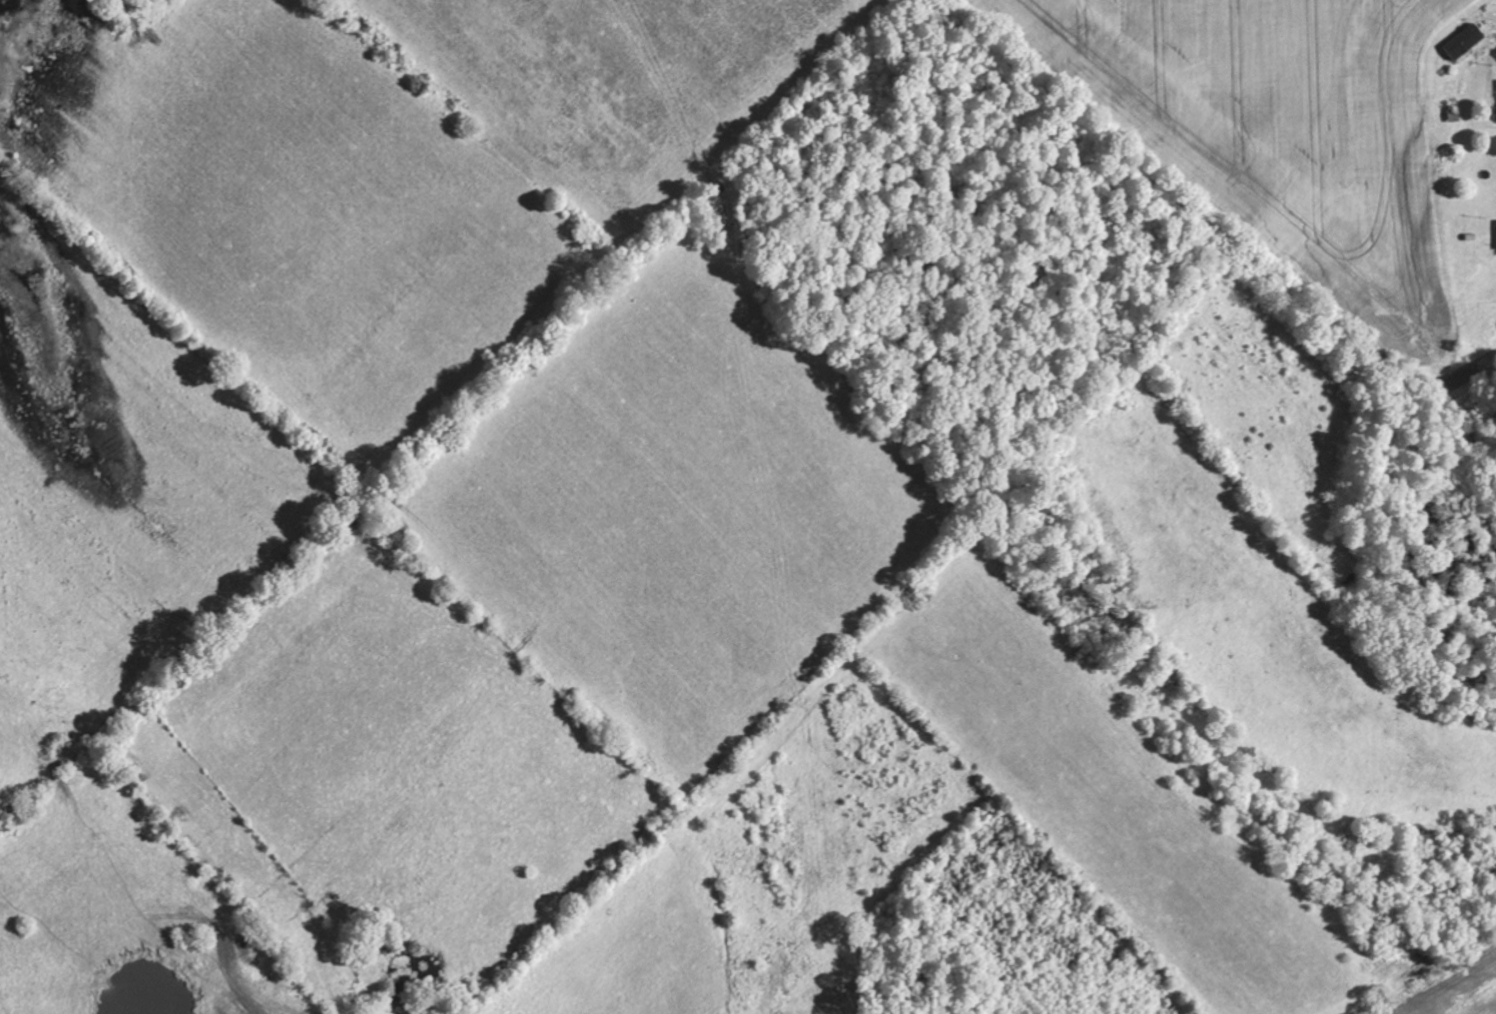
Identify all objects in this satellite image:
building: (1460, 43)
building: (1495, 113)
building: (1495, 231)

